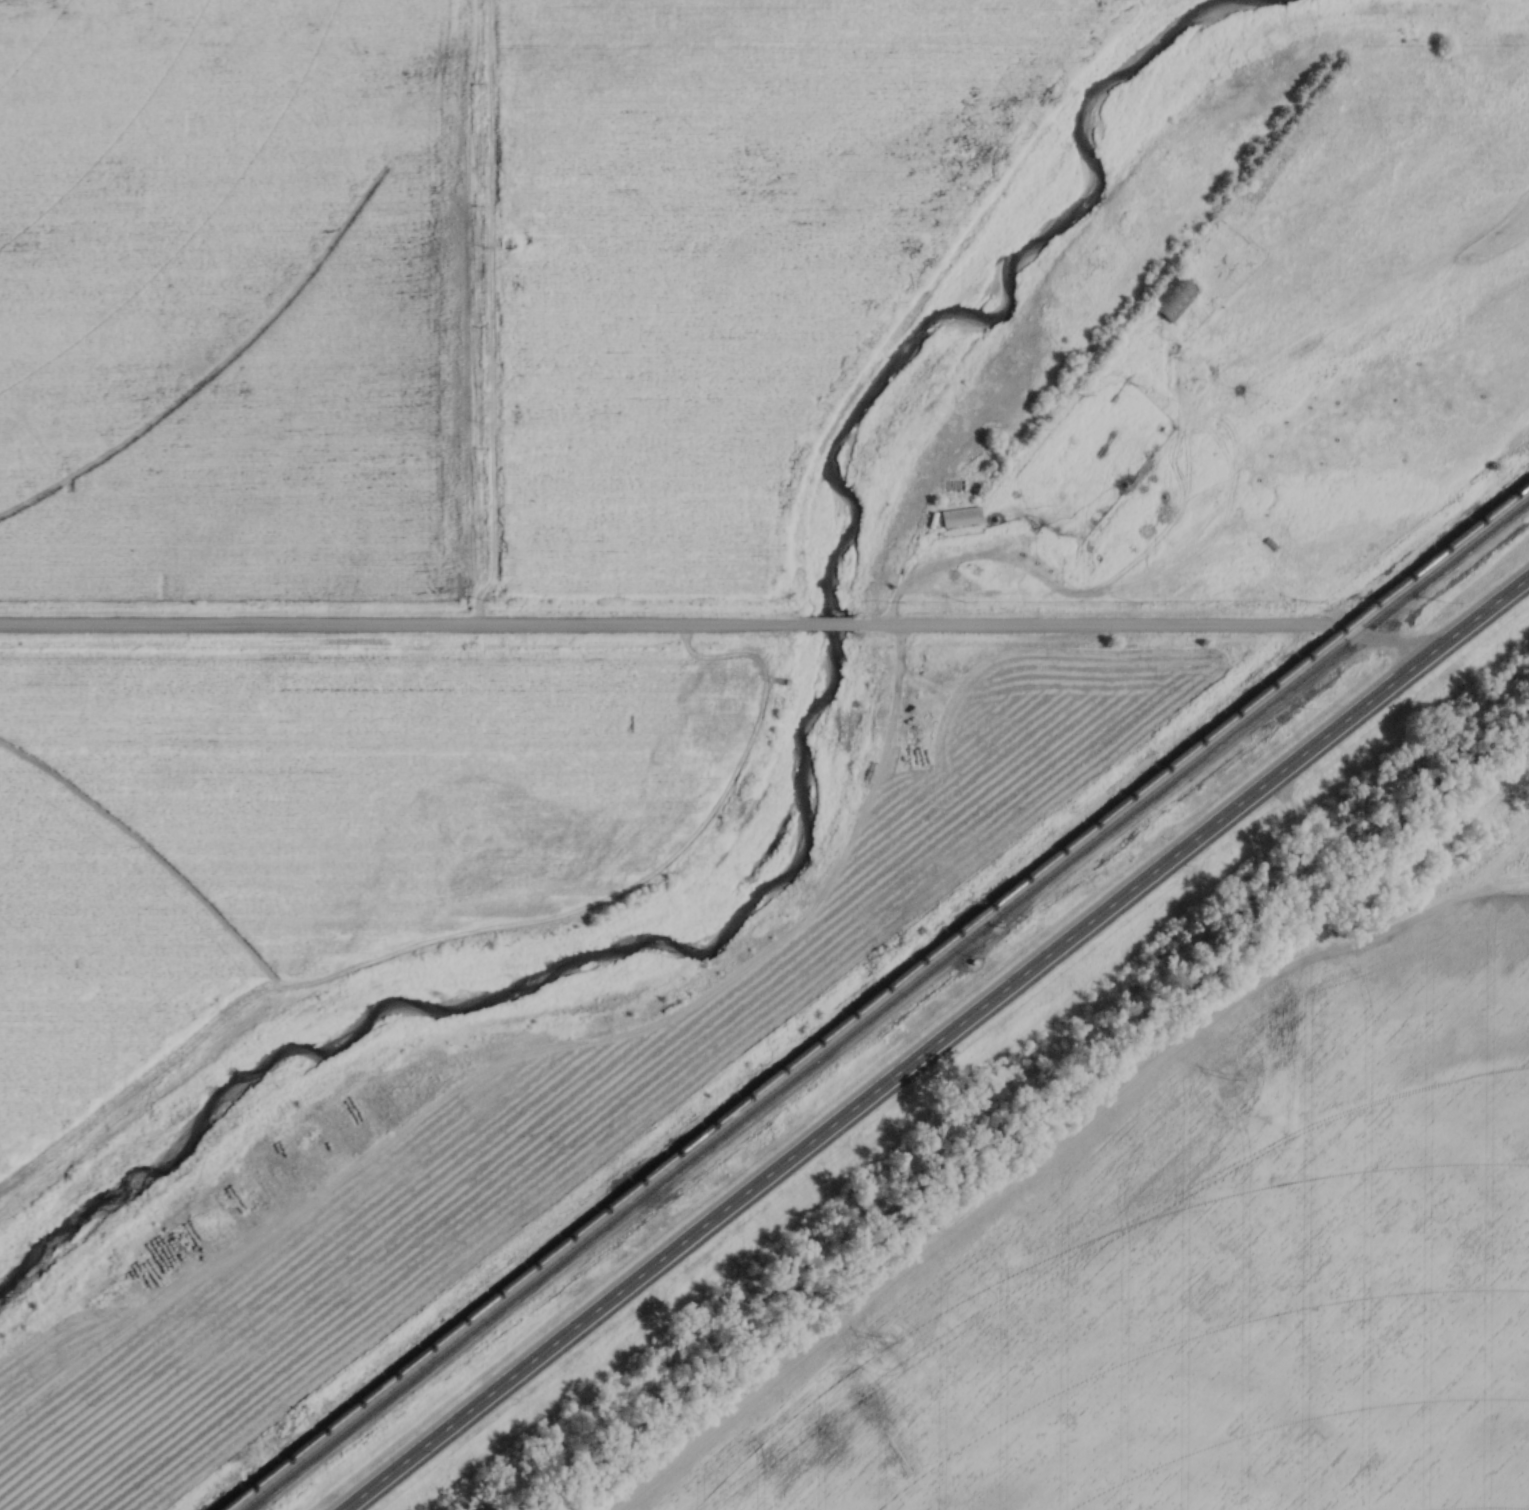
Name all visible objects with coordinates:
building: (1171, 298)
building: (962, 517)
road: (822, 622)
road: (1137, 624)
road: (398, 628)
railway: (875, 996)
railway: (885, 1003)
road: (942, 1045)

